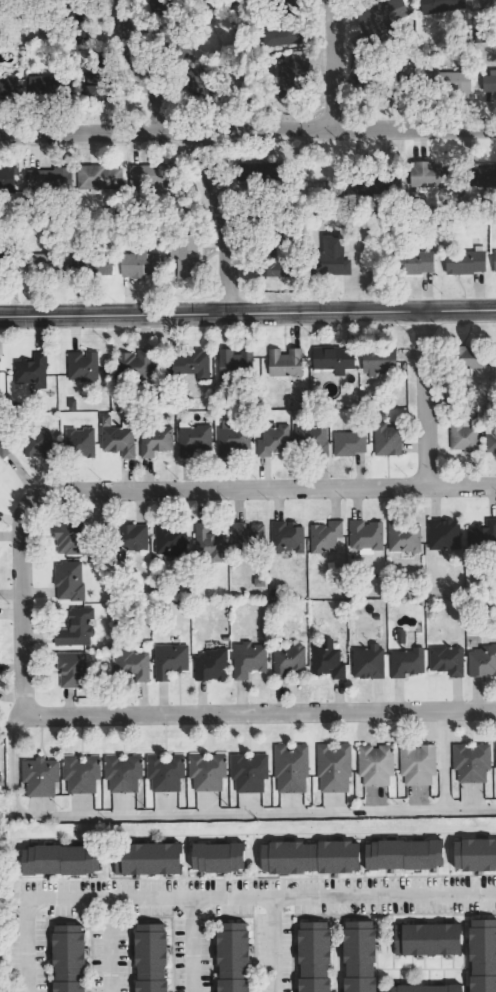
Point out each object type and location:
building: (488, 4)
building: (439, 5)
building: (383, 15)
building: (283, 37)
road: (333, 65)
building: (295, 74)
building: (45, 84)
building: (457, 84)
building: (491, 85)
building: (95, 86)
building: (9, 88)
road: (248, 130)
road: (195, 147)
building: (138, 174)
building: (428, 175)
building: (484, 176)
building: (103, 177)
building: (7, 179)
building: (51, 181)
building: (335, 256)
building: (495, 259)
building: (187, 261)
building: (278, 261)
building: (468, 262)
building: (419, 263)
building: (141, 265)
road: (247, 310)
building: (494, 355)
building: (465, 357)
building: (331, 359)
building: (376, 359)
building: (234, 361)
building: (186, 362)
building: (283, 362)
building: (133, 365)
building: (80, 366)
building: (29, 370)
building: (2, 375)
road: (424, 398)
building: (70, 403)
building: (378, 416)
building: (104, 420)
building: (231, 436)
building: (310, 437)
building: (461, 437)
building: (489, 438)
building: (192, 439)
building: (271, 439)
building: (385, 439)
building: (153, 440)
building: (78, 441)
building: (117, 441)
building: (34, 442)
building: (347, 442)
building: (3, 448)
road: (152, 490)
building: (245, 534)
building: (442, 534)
building: (480, 534)
building: (363, 535)
building: (67, 536)
building: (323, 536)
building: (129, 537)
building: (284, 537)
building: (401, 538)
building: (167, 539)
building: (207, 541)
building: (67, 580)
building: (74, 627)
building: (399, 636)
building: (246, 659)
building: (325, 659)
building: (168, 660)
building: (286, 660)
building: (445, 660)
building: (481, 661)
building: (366, 662)
building: (405, 662)
building: (131, 663)
building: (209, 664)
building: (70, 669)
road: (257, 713)
building: (495, 755)
road: (442, 760)
building: (470, 762)
building: (415, 763)
building: (373, 764)
building: (332, 767)
building: (289, 768)
building: (163, 772)
building: (206, 772)
building: (247, 772)
building: (121, 773)
building: (80, 774)
building: (38, 776)
road: (205, 814)
building: (475, 853)
building: (402, 854)
building: (217, 856)
building: (309, 856)
building: (146, 858)
building: (59, 859)
road: (335, 896)
road: (100, 898)
building: (426, 939)
road: (108, 945)
road: (189, 945)
building: (482, 955)
building: (313, 956)
building: (358, 956)
building: (149, 957)
building: (232, 957)
building: (67, 958)
building: (424, 988)

